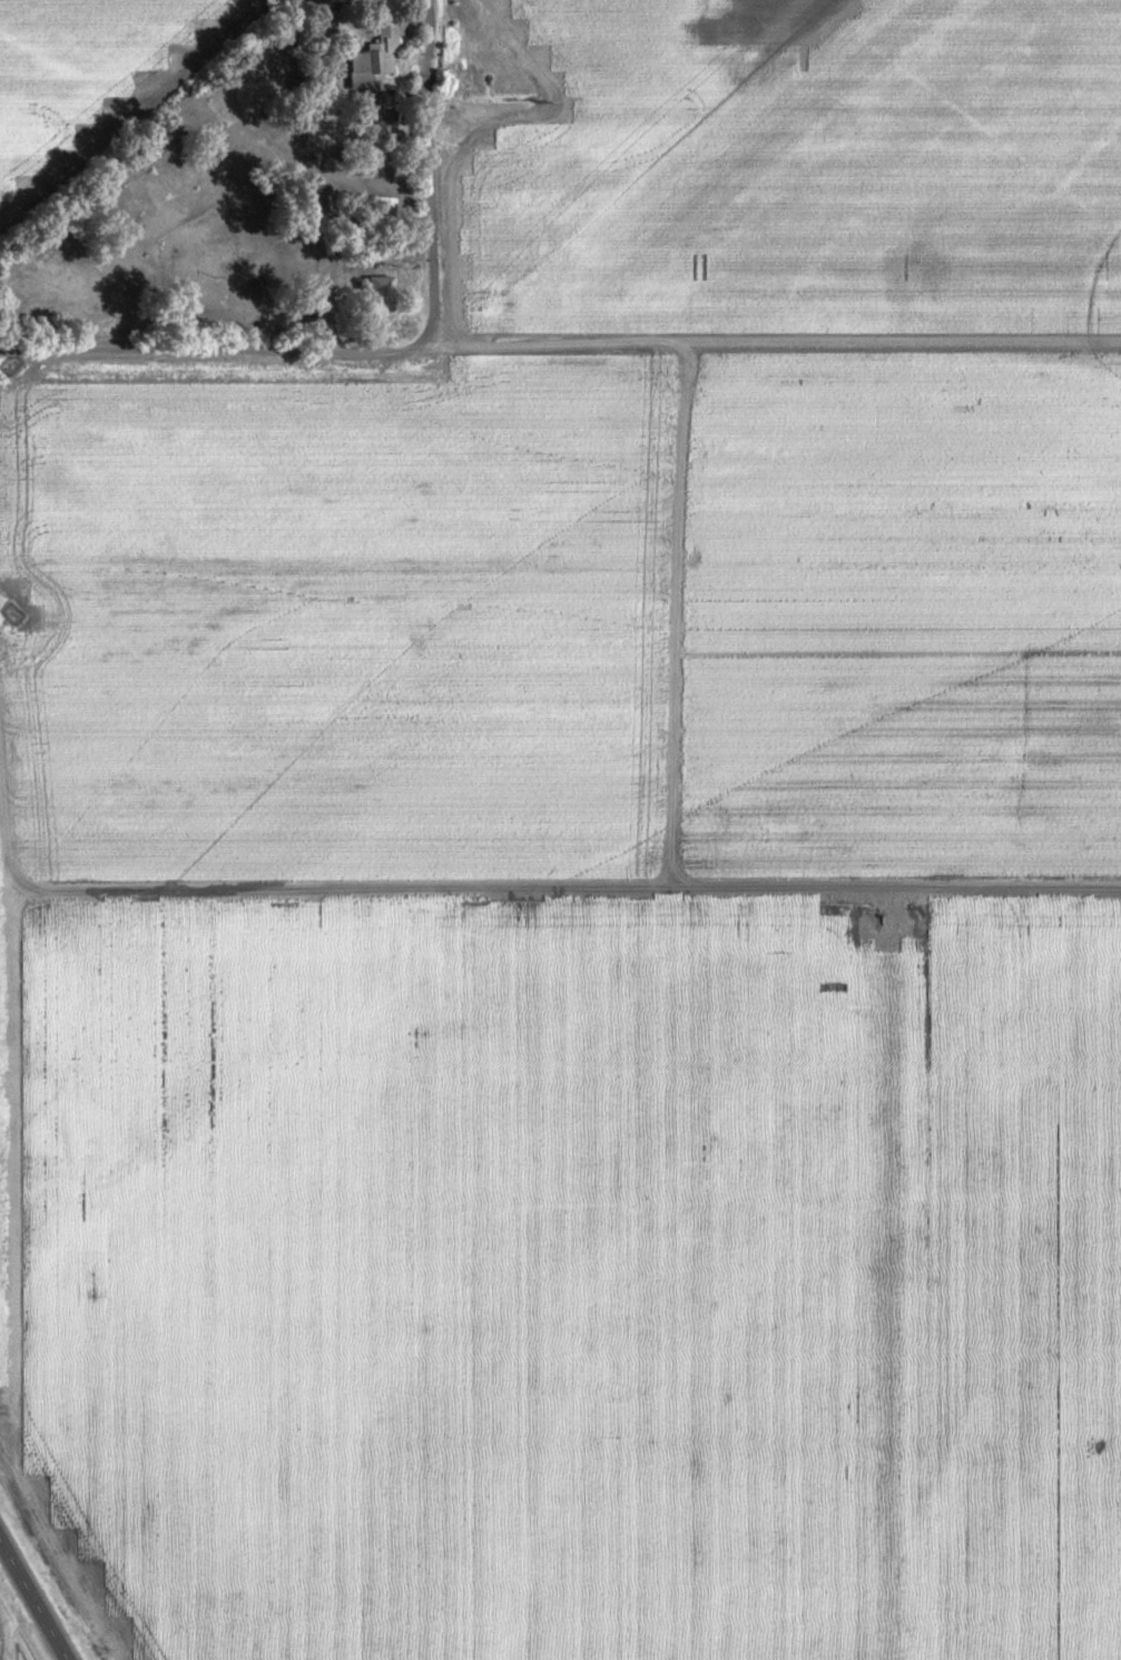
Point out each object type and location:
road: (510, 1)
building: (371, 67)
building: (383, 293)
road: (779, 345)
road: (390, 346)
road: (670, 620)
road: (560, 895)
road: (10, 1270)
road: (883, 1277)
road: (30, 1604)
road: (26, 1630)

